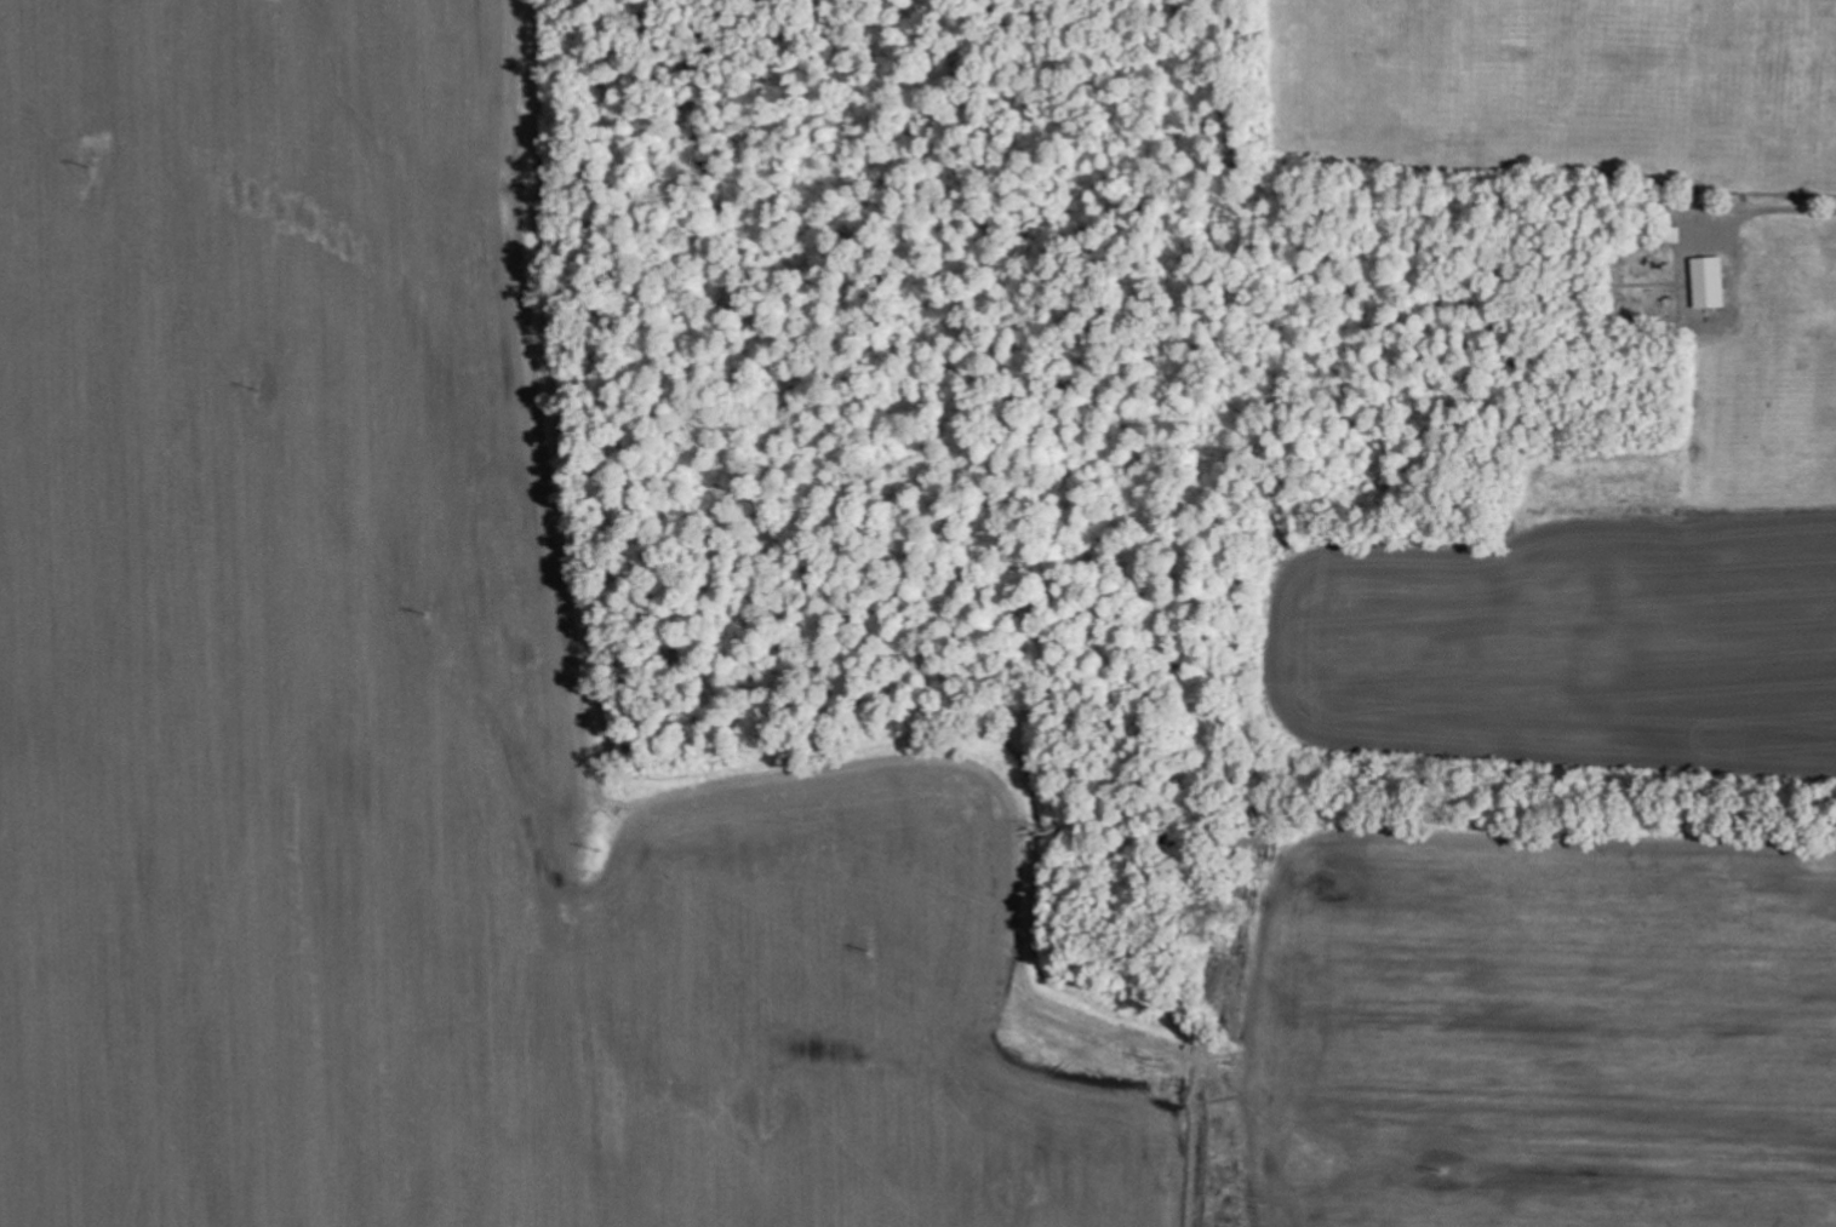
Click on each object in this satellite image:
road: (1824, 81)
road: (1811, 105)
road: (1785, 227)
road: (1623, 282)
building: (1710, 283)
road: (1750, 377)
park: (1763, 382)

